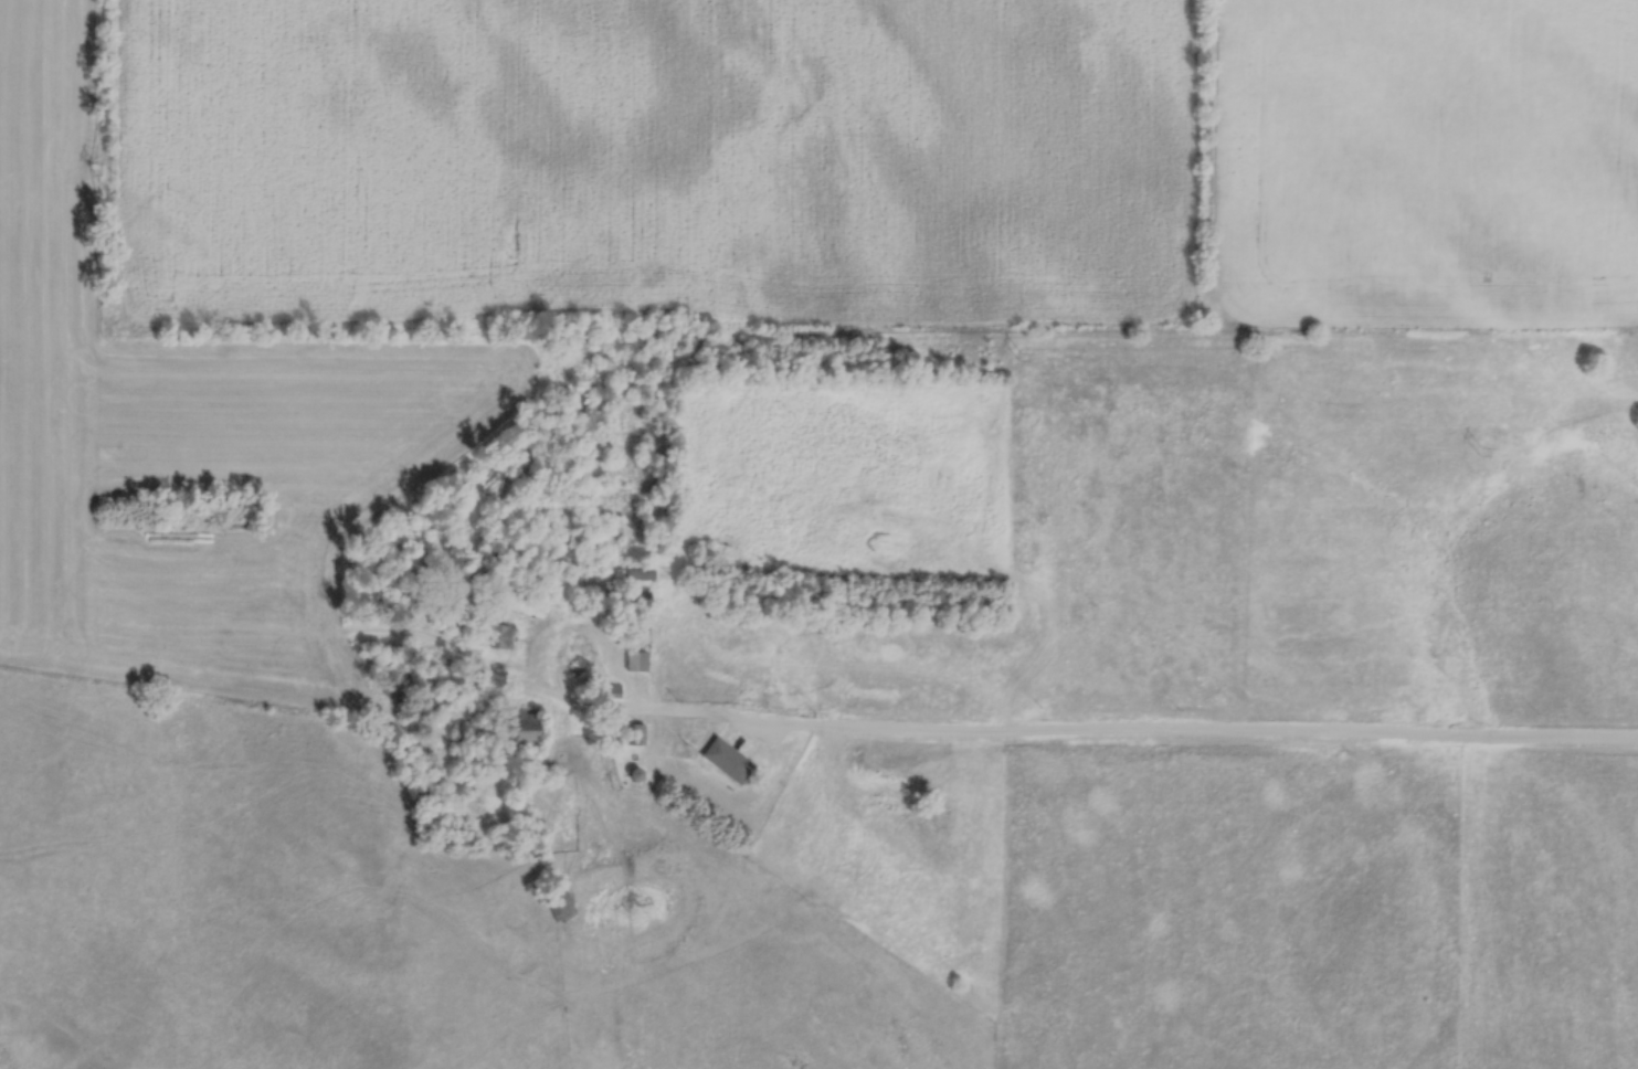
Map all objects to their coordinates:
building: (636, 596)
building: (497, 636)
building: (514, 730)
road: (1185, 732)
building: (634, 734)
building: (723, 760)
building: (559, 902)

